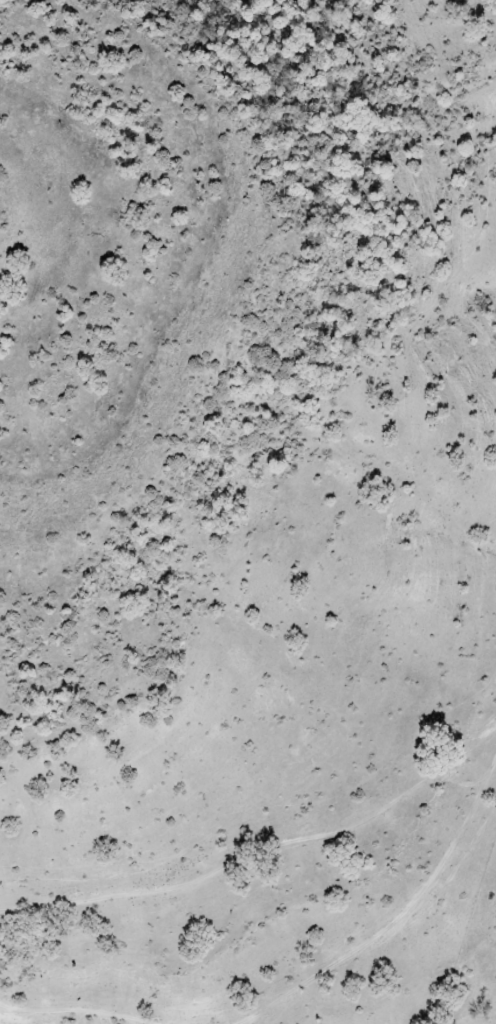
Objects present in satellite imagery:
road: (261, 878)

